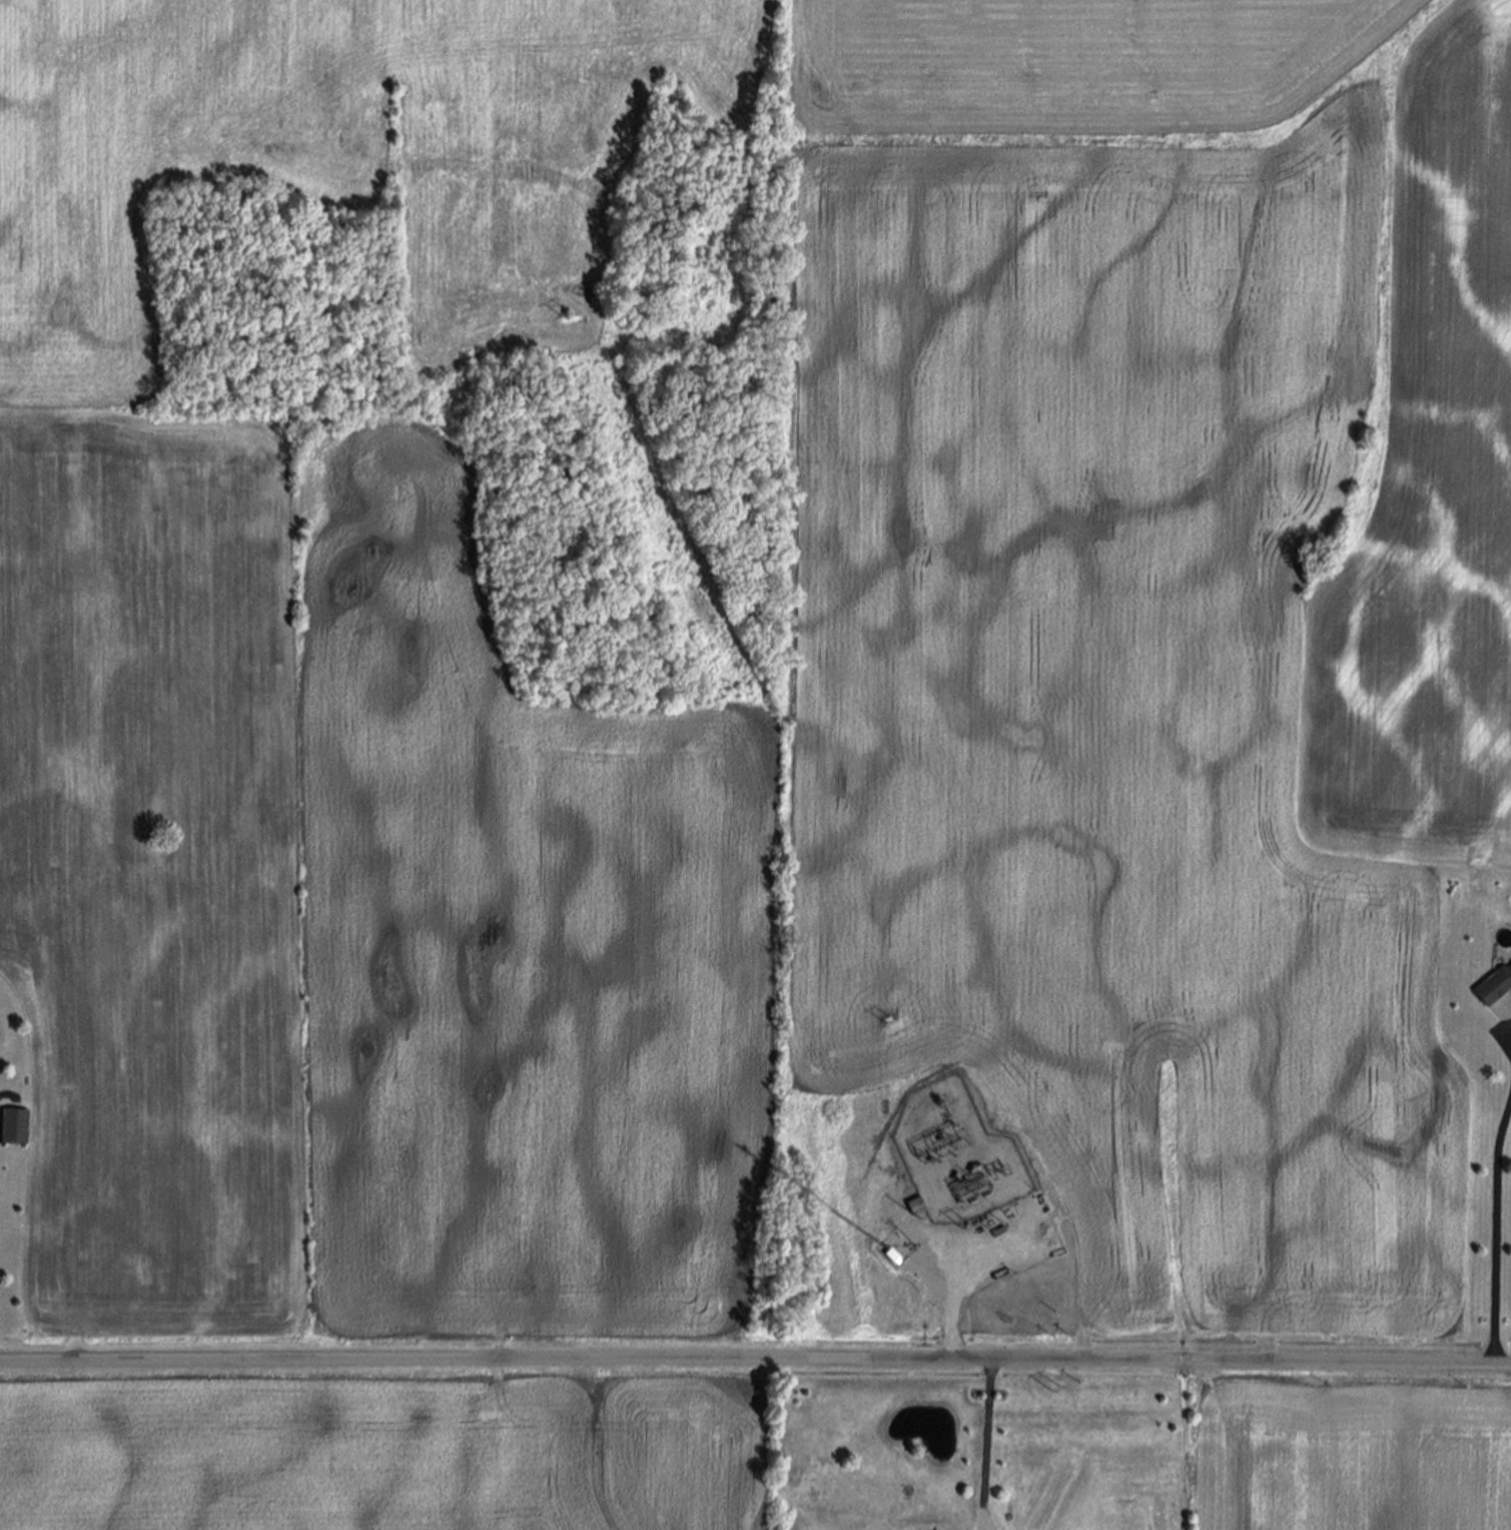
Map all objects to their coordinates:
power tower: (568, 319)
power tower: (740, 695)
building: (1495, 987)
power tower: (889, 1019)
road: (1506, 1043)
building: (16, 1127)
power substation: (960, 1159)
building: (918, 1207)
road: (1497, 1231)
road: (952, 1316)
road: (755, 1361)
power tower: (1056, 1390)
road: (988, 1445)

